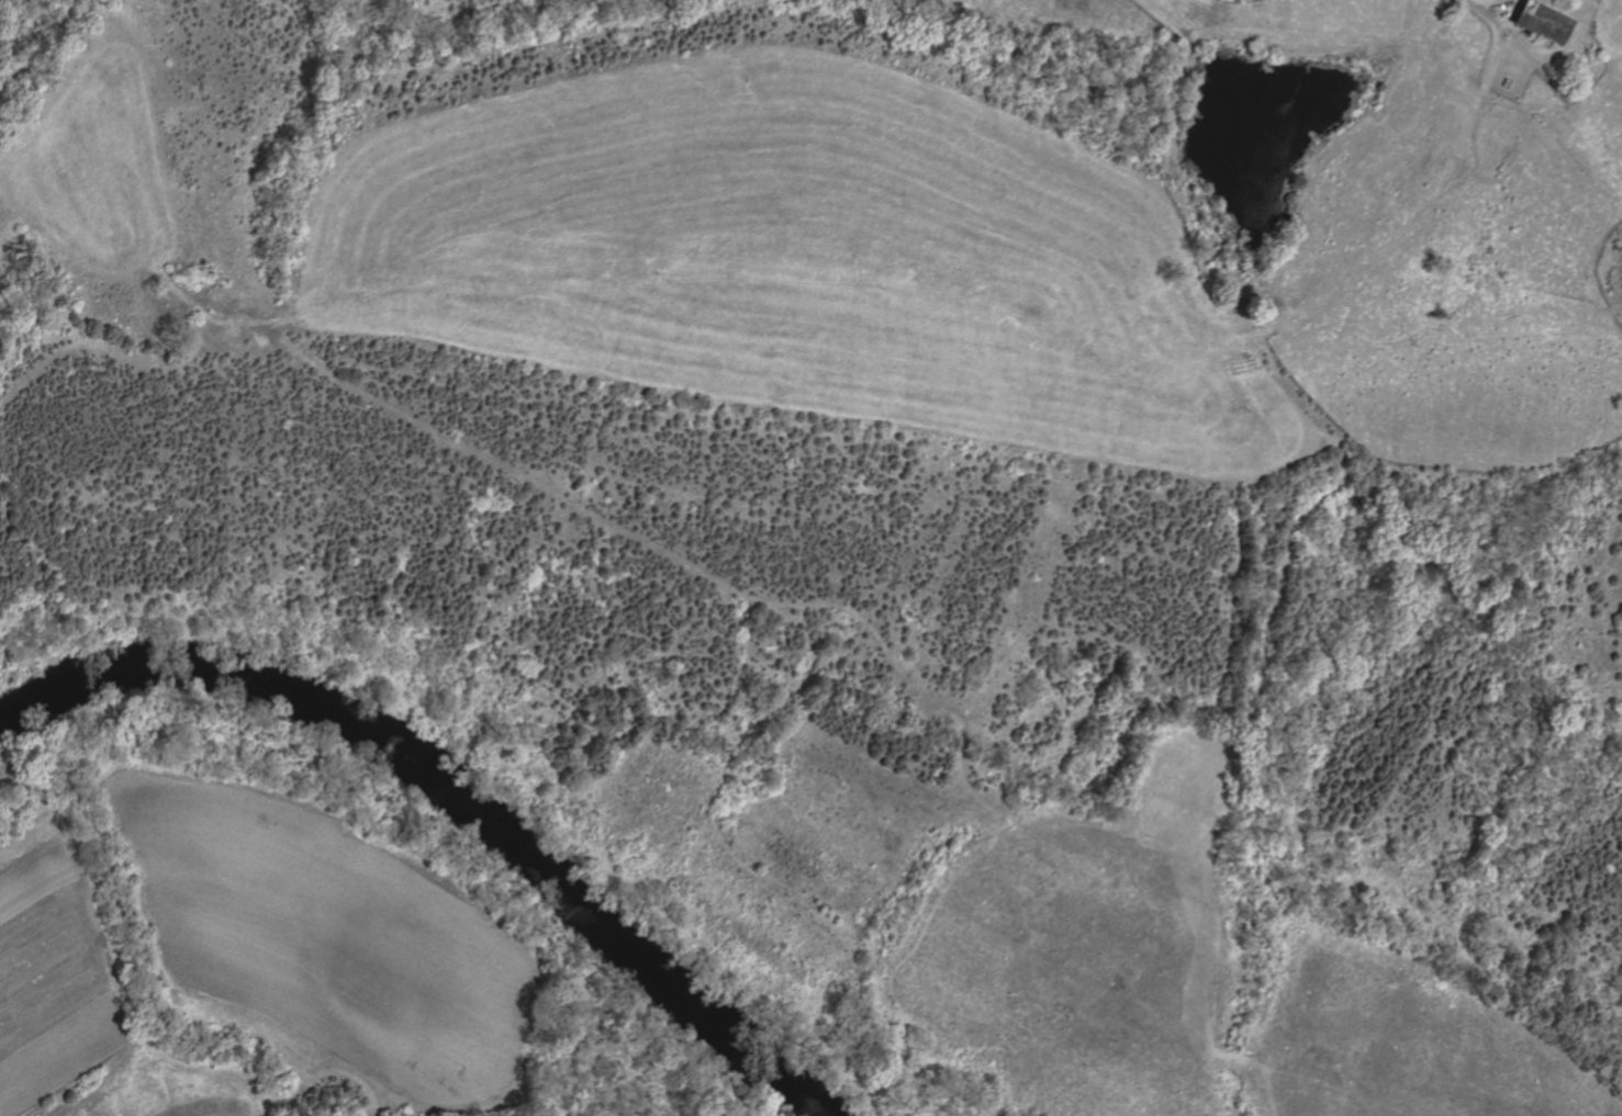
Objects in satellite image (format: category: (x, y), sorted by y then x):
road: (1478, 5)
building: (1537, 23)
crop: (324, 933)
crop: (52, 970)
road: (338, 1073)

